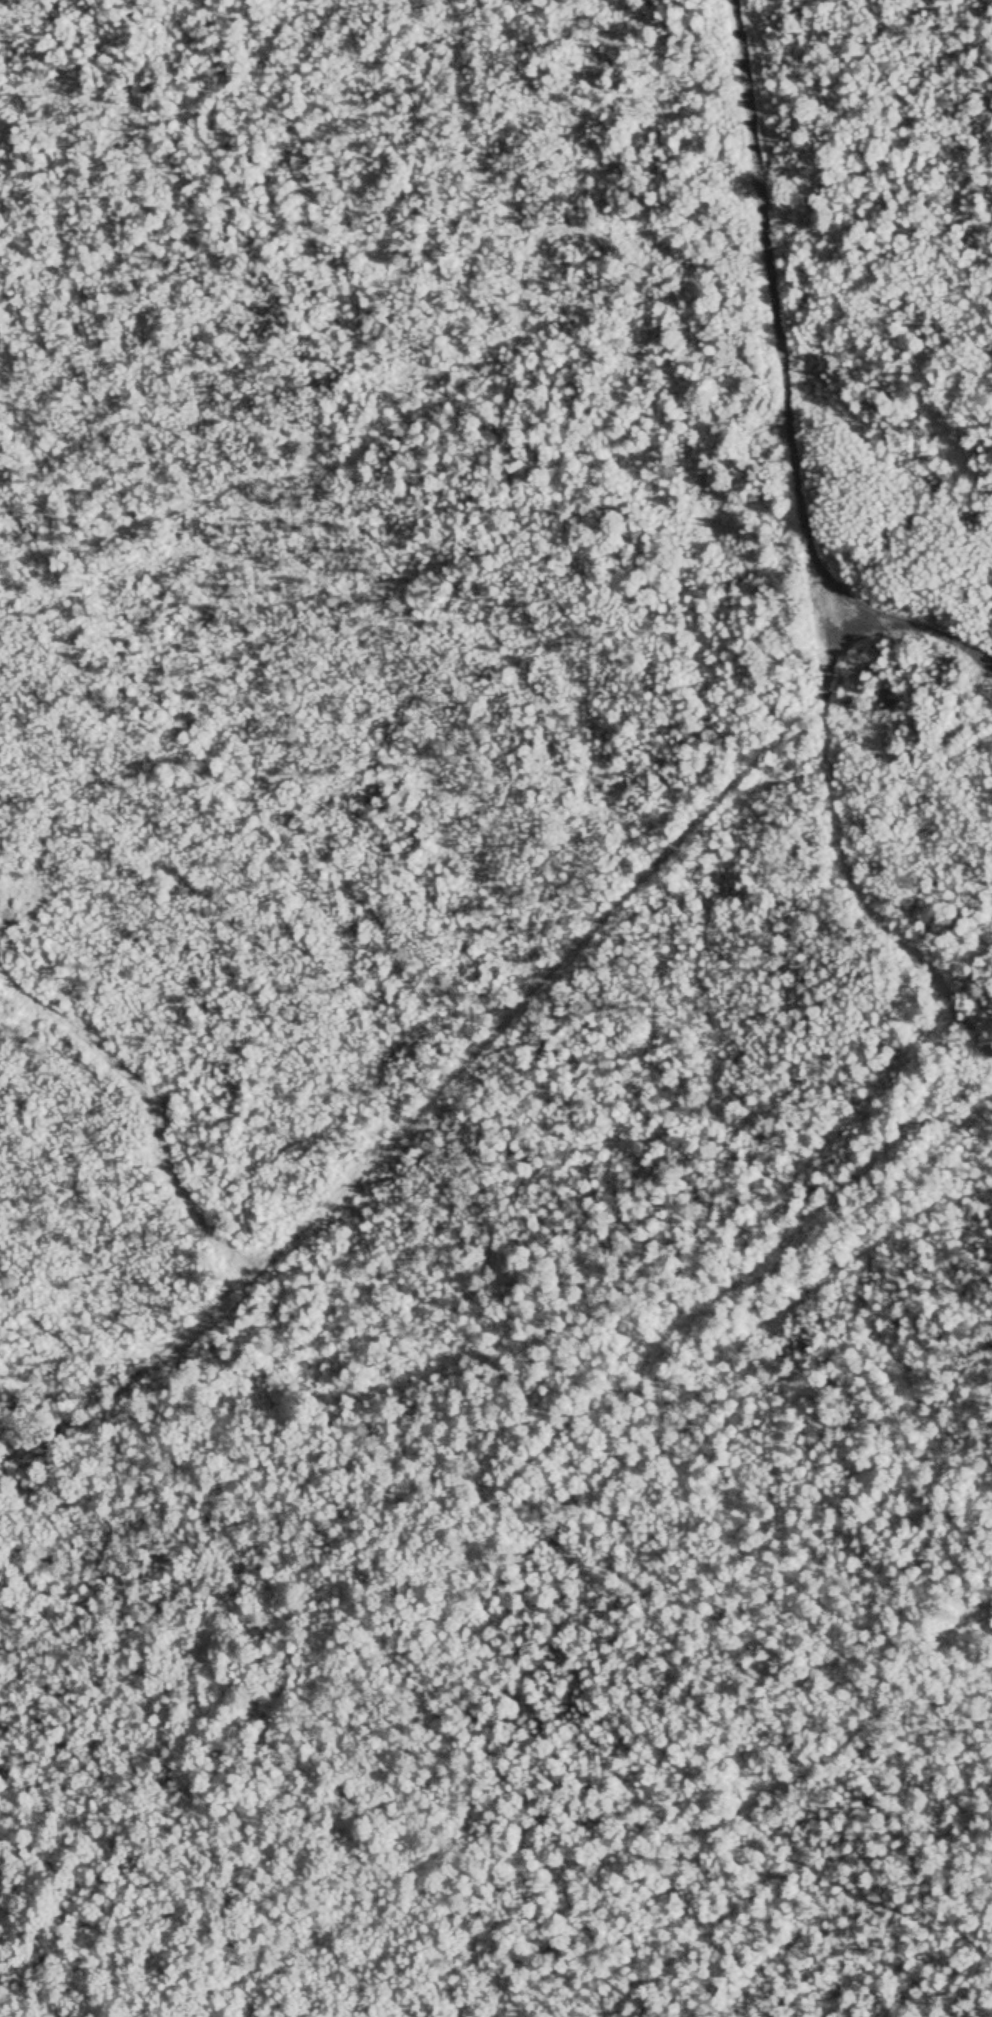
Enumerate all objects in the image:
road: (812, 531)
road: (906, 629)

